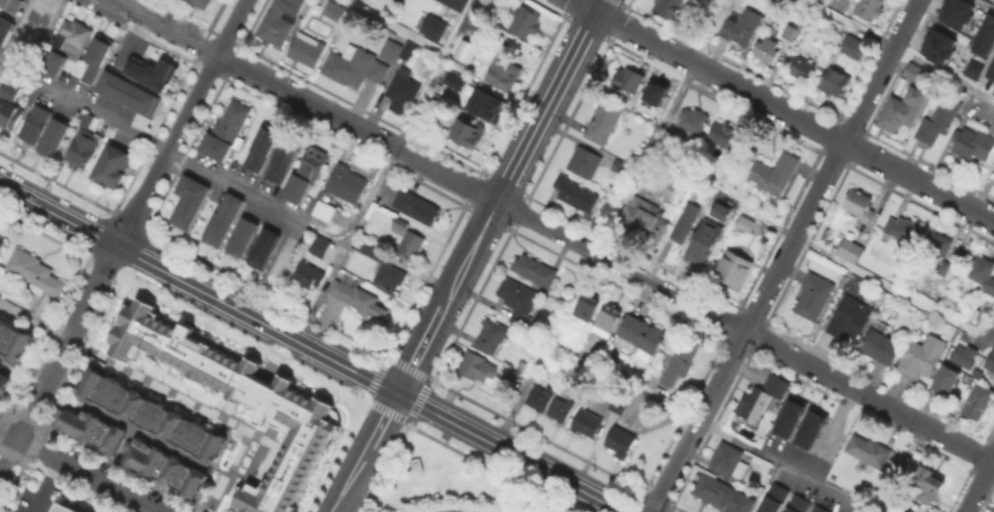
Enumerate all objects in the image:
building: (392, 0)
building: (820, 0)
building: (486, 1)
building: (707, 2)
building: (202, 3)
building: (12, 4)
building: (455, 4)
road: (118, 5)
building: (668, 7)
building: (869, 8)
building: (336, 10)
building: (38, 12)
building: (959, 16)
building: (281, 21)
building: (526, 21)
road: (394, 26)
building: (742, 26)
building: (4, 27)
road: (231, 27)
building: (435, 27)
building: (790, 32)
road: (171, 33)
building: (72, 36)
building: (984, 36)
building: (937, 45)
building: (854, 47)
building: (768, 49)
building: (307, 50)
building: (400, 50)
building: (465, 52)
building: (97, 56)
building: (49, 60)
building: (354, 66)
building: (801, 67)
building: (971, 69)
building: (991, 71)
building: (154, 72)
building: (914, 72)
building: (503, 73)
road: (943, 73)
building: (630, 80)
building: (833, 82)
building: (453, 86)
building: (655, 91)
building: (403, 92)
building: (129, 93)
road: (550, 100)
building: (8, 102)
building: (482, 105)
road: (784, 111)
building: (895, 114)
building: (939, 120)
building: (692, 121)
building: (603, 122)
building: (33, 123)
road: (357, 127)
building: (992, 128)
building: (231, 129)
building: (469, 133)
road: (566, 133)
building: (725, 135)
building: (51, 137)
building: (666, 140)
building: (84, 143)
building: (969, 145)
road: (166, 150)
building: (263, 150)
road: (173, 151)
building: (284, 159)
building: (585, 162)
building: (993, 162)
building: (113, 166)
road: (384, 170)
building: (619, 170)
building: (306, 174)
building: (776, 176)
building: (348, 184)
building: (663, 184)
building: (576, 193)
building: (191, 199)
building: (860, 205)
building: (418, 206)
building: (717, 209)
building: (327, 211)
road: (58, 216)
building: (225, 217)
road: (609, 221)
building: (643, 221)
building: (744, 223)
building: (683, 226)
building: (903, 228)
building: (244, 234)
building: (2, 242)
building: (707, 242)
building: (412, 245)
building: (321, 246)
building: (261, 247)
building: (938, 247)
building: (851, 250)
road: (470, 252)
road: (817, 252)
road: (783, 255)
road: (620, 265)
building: (386, 268)
building: (733, 269)
building: (536, 270)
building: (949, 271)
building: (36, 273)
building: (309, 276)
building: (983, 276)
building: (814, 296)
building: (359, 299)
building: (518, 300)
building: (588, 307)
building: (609, 319)
building: (850, 319)
road: (256, 320)
road: (34, 321)
building: (993, 327)
building: (640, 334)
building: (493, 336)
building: (587, 338)
building: (882, 346)
road: (420, 348)
building: (11, 349)
building: (963, 354)
building: (923, 356)
road: (58, 358)
building: (681, 362)
building: (991, 362)
building: (478, 367)
building: (974, 372)
building: (943, 378)
traffic signals: (397, 394)
building: (236, 395)
road: (868, 396)
building: (540, 398)
building: (761, 399)
building: (975, 401)
building: (619, 404)
building: (561, 409)
road: (198, 410)
road: (413, 414)
building: (787, 415)
road: (398, 416)
building: (587, 424)
road: (709, 426)
building: (809, 427)
building: (143, 432)
building: (623, 442)
building: (869, 450)
road: (509, 452)
road: (364, 453)
building: (729, 460)
road: (993, 462)
road: (384, 467)
building: (904, 467)
road: (77, 470)
road: (62, 479)
road: (980, 485)
building: (928, 486)
road: (49, 487)
building: (719, 492)
building: (774, 499)
building: (799, 504)
building: (65, 507)
building: (993, 509)
building: (821, 510)

